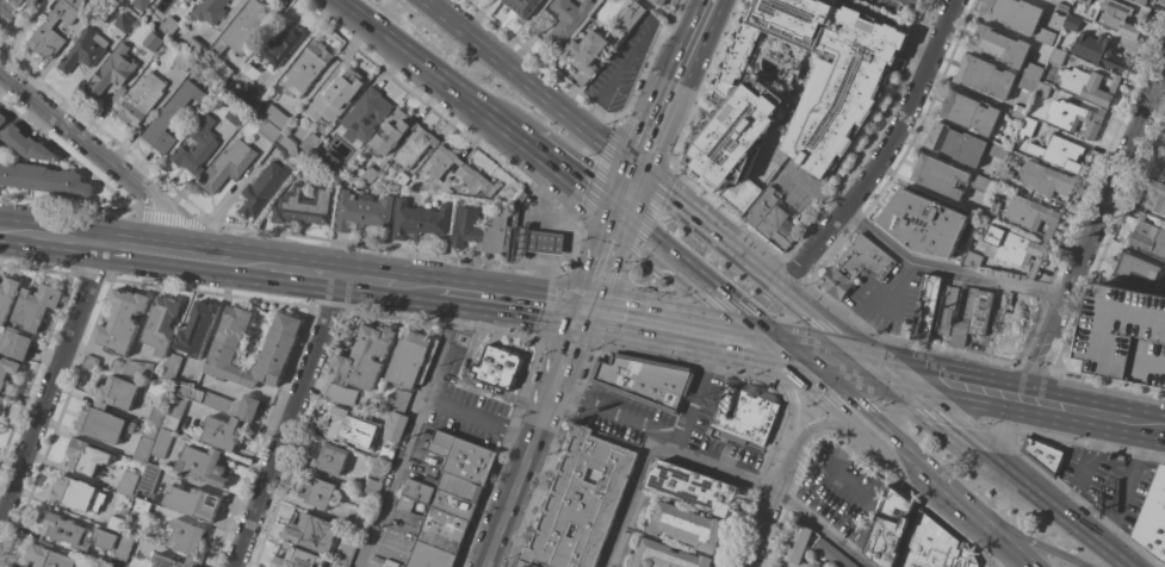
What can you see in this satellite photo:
building: (187, 0)
building: (191, 0)
building: (95, 1)
building: (657, 1)
building: (1084, 1)
building: (1140, 1)
building: (140, 4)
building: (522, 6)
parking lot: (891, 7)
building: (1062, 7)
building: (12, 10)
building: (209, 11)
building: (1014, 13)
building: (630, 15)
building: (1116, 18)
building: (565, 19)
building: (123, 23)
building: (1072, 23)
building: (169, 25)
road: (696, 25)
building: (244, 27)
road: (23, 29)
building: (45, 35)
building: (1045, 36)
building: (151, 42)
building: (279, 43)
building: (999, 45)
building: (194, 48)
building: (83, 50)
building: (587, 50)
building: (1098, 51)
building: (1058, 57)
building: (184, 62)
building: (305, 69)
road: (430, 70)
building: (112, 71)
building: (223, 71)
building: (1033, 71)
building: (984, 76)
road: (533, 83)
building: (1028, 83)
building: (1086, 85)
building: (794, 86)
building: (1042, 91)
building: (249, 93)
building: (141, 98)
building: (335, 98)
road: (661, 107)
building: (1020, 108)
building: (969, 112)
building: (235, 114)
building: (367, 114)
building: (1016, 114)
building: (172, 116)
building: (275, 117)
building: (2, 118)
building: (1073, 118)
building: (1027, 127)
building: (269, 132)
building: (391, 132)
road: (609, 139)
building: (309, 142)
building: (25, 144)
building: (956, 144)
building: (197, 147)
building: (286, 147)
building: (414, 147)
building: (1164, 150)
road: (882, 151)
building: (998, 151)
building: (1058, 152)
road: (98, 155)
building: (227, 166)
traffic signals: (639, 167)
building: (1160, 168)
building: (432, 172)
building: (367, 174)
building: (938, 175)
road: (572, 176)
road: (1114, 176)
building: (43, 179)
building: (398, 180)
building: (1036, 180)
building: (981, 183)
road: (816, 187)
building: (262, 189)
road: (628, 191)
road: (670, 192)
building: (520, 198)
building: (1154, 198)
road: (69, 204)
building: (304, 205)
building: (762, 207)
building: (991, 210)
building: (361, 211)
road: (724, 211)
building: (977, 211)
road: (649, 213)
traffic signals: (619, 214)
building: (1031, 214)
road: (176, 218)
building: (419, 219)
building: (922, 223)
building: (777, 228)
building: (479, 230)
building: (513, 236)
road: (51, 237)
building: (1147, 237)
building: (545, 242)
road: (131, 248)
building: (1014, 249)
road: (411, 250)
road: (194, 256)
building: (972, 260)
road: (601, 262)
building: (855, 267)
road: (35, 268)
road: (285, 268)
building: (1138, 268)
road: (794, 269)
road: (943, 272)
road: (591, 273)
road: (89, 275)
road: (367, 280)
road: (698, 281)
road: (417, 286)
road: (643, 288)
road: (211, 293)
road: (792, 294)
road: (873, 295)
road: (512, 299)
building: (6, 300)
building: (35, 307)
road: (841, 307)
building: (928, 309)
road: (330, 310)
building: (946, 310)
traffic signals: (583, 311)
building: (971, 314)
road: (780, 316)
road: (394, 318)
building: (119, 323)
building: (161, 324)
road: (447, 325)
building: (1010, 328)
building: (197, 329)
road: (680, 329)
road: (497, 332)
building: (1124, 335)
parking lot: (1124, 335)
building: (16, 343)
road: (564, 345)
building: (278, 348)
road: (1041, 348)
traffic signals: (777, 349)
road: (946, 349)
building: (364, 359)
building: (408, 359)
road: (830, 360)
building: (89, 362)
road: (690, 362)
building: (116, 367)
building: (172, 367)
building: (497, 367)
road: (1034, 367)
building: (7, 368)
building: (137, 368)
traffic signals: (882, 370)
road: (465, 376)
building: (645, 380)
road: (51, 381)
road: (1108, 381)
road: (952, 384)
building: (116, 393)
building: (340, 394)
building: (1, 400)
building: (398, 400)
building: (221, 401)
road: (882, 409)
building: (174, 412)
building: (745, 412)
road: (1092, 412)
parking lot: (465, 413)
building: (156, 415)
road: (612, 416)
road: (936, 416)
road: (476, 419)
road: (285, 422)
building: (103, 425)
building: (351, 428)
building: (395, 428)
road: (870, 428)
road: (408, 430)
building: (223, 434)
road: (532, 438)
road: (1076, 441)
building: (161, 443)
building: (144, 444)
road: (656, 444)
building: (1043, 454)
building: (385, 455)
building: (86, 457)
building: (463, 457)
building: (331, 459)
building: (1116, 460)
building: (202, 466)
road: (776, 473)
building: (149, 479)
building: (126, 482)
building: (454, 486)
building: (371, 487)
building: (690, 487)
road: (770, 487)
building: (317, 493)
building: (76, 494)
building: (438, 499)
building: (581, 501)
building: (190, 503)
building: (404, 504)
building: (142, 506)
building: (638, 510)
road: (1058, 513)
building: (1152, 516)
building: (117, 519)
building: (361, 519)
building: (687, 526)
building: (888, 528)
building: (64, 530)
building: (442, 530)
building: (311, 532)
road: (994, 537)
road: (1020, 537)
building: (104, 538)
building: (186, 538)
building: (934, 546)
building: (124, 547)
building: (794, 547)
building: (624, 549)
building: (346, 552)
building: (832, 554)
building: (429, 556)
building: (665, 556)
building: (1163, 556)
building: (48, 557)
building: (297, 559)
building: (163, 561)
road: (1012, 561)
building: (190, 562)
building: (521, 563)
building: (613, 566)
building: (822, 566)

